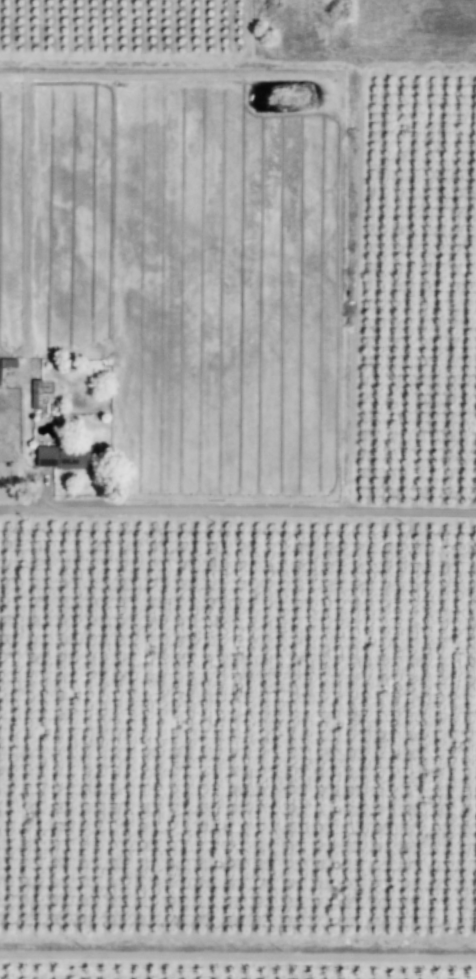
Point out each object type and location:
building: (34, 395)
building: (59, 456)
road: (237, 509)
road: (238, 954)

